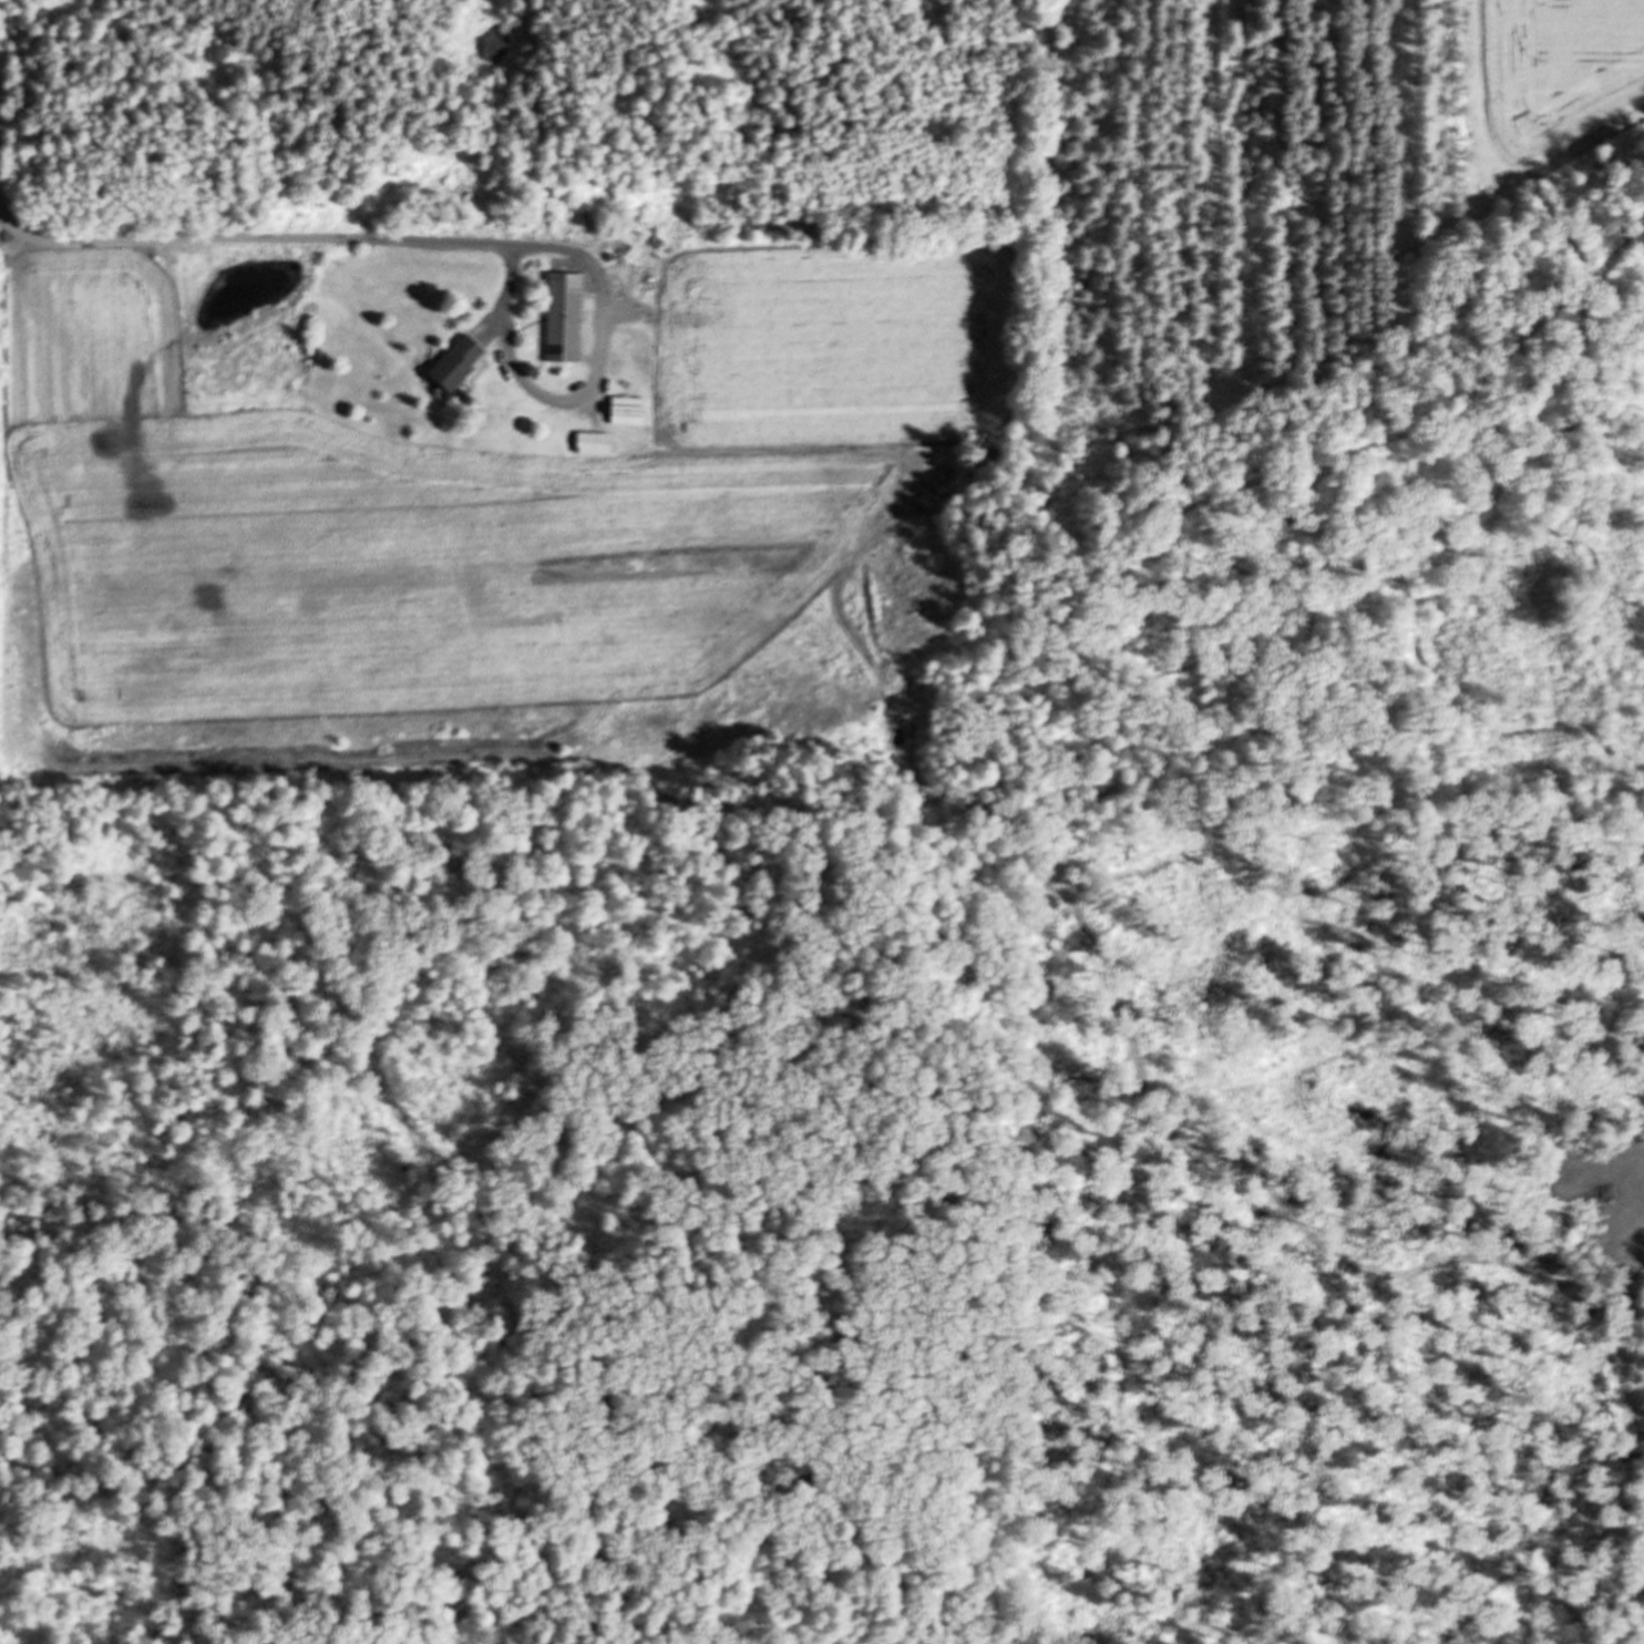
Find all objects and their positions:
building: (562, 317)
building: (454, 362)
building: (625, 411)
building: (592, 442)

